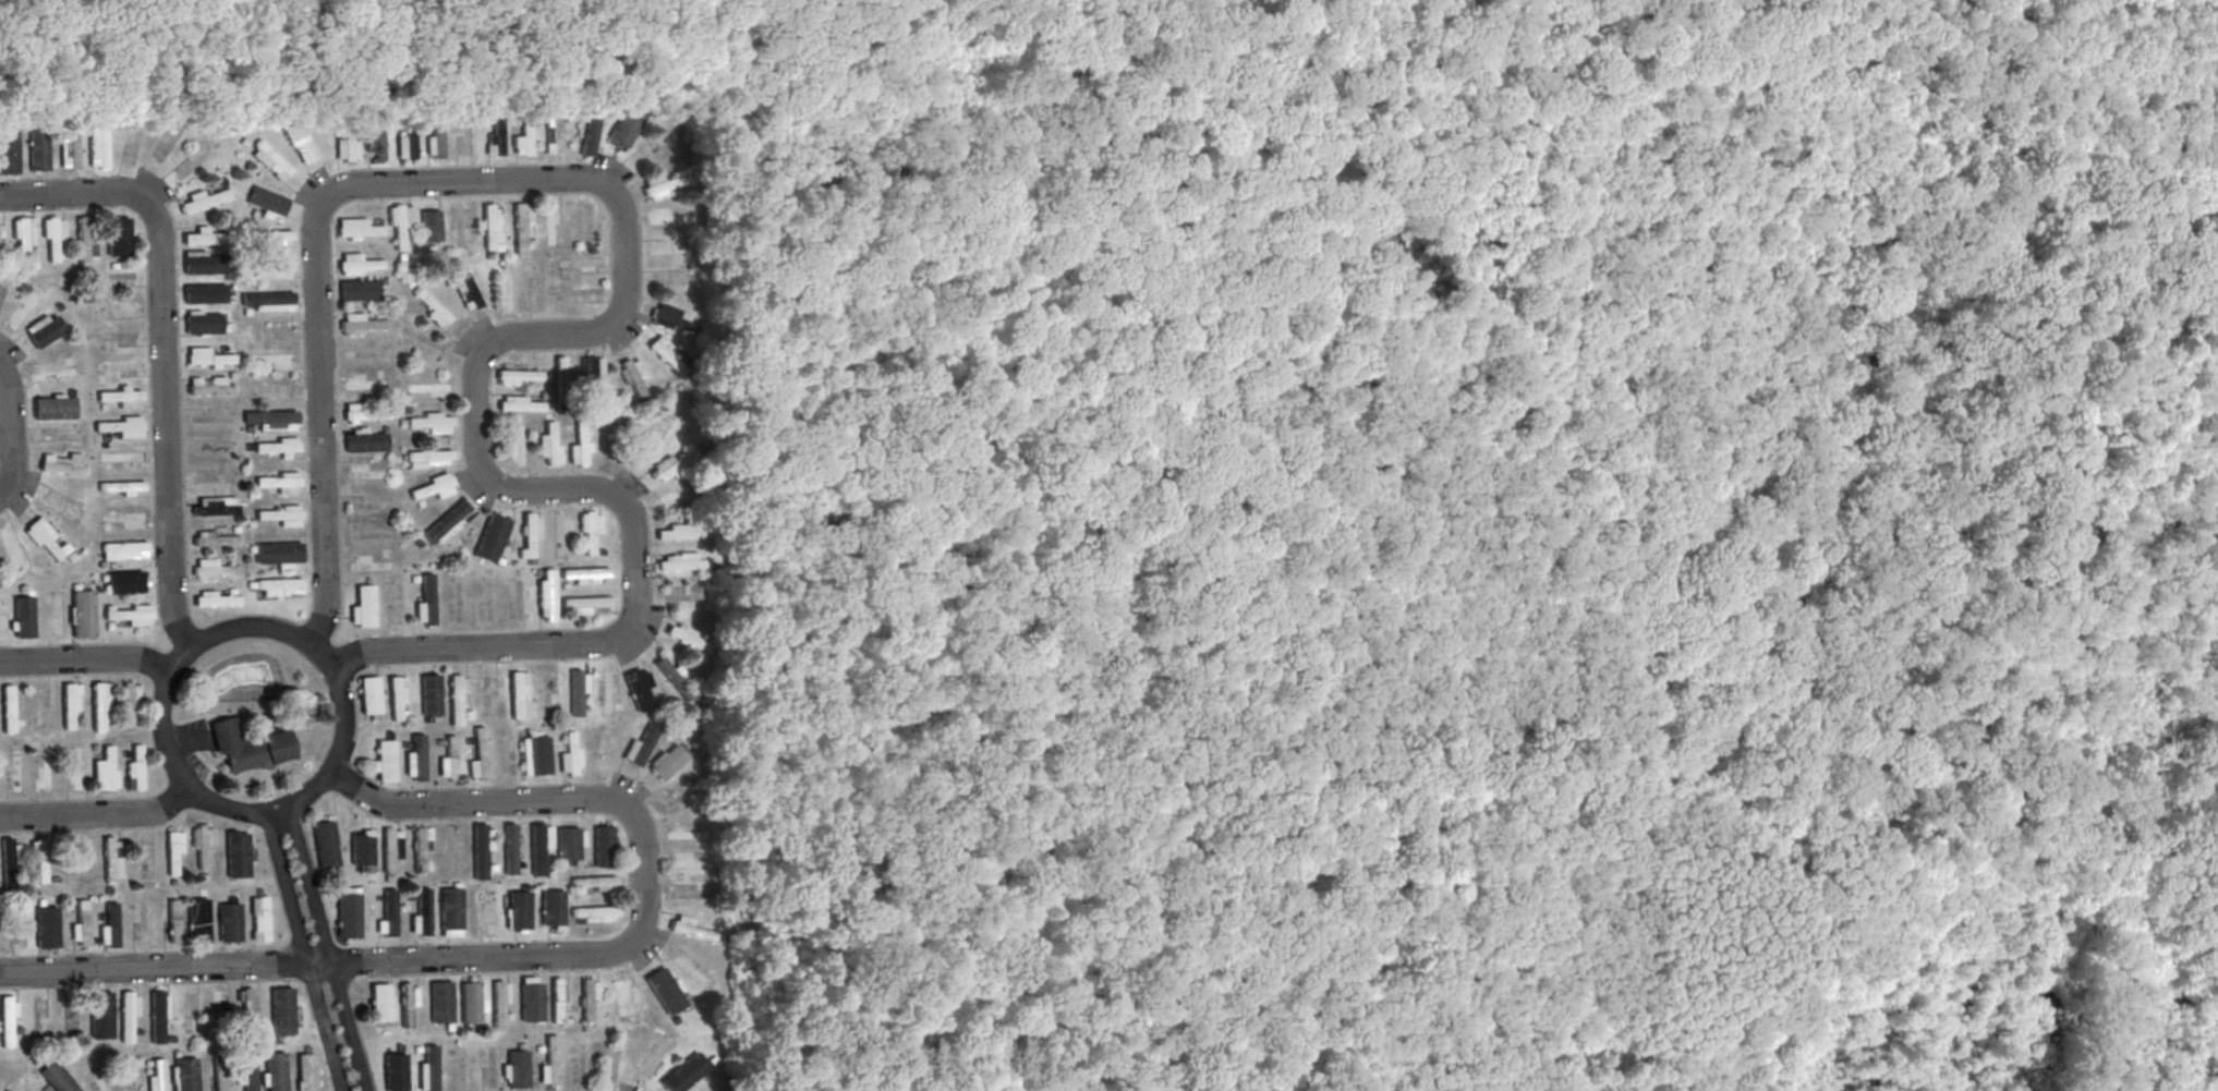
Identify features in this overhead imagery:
road: (2067, 1)
road: (2140, 10)
road: (10, 15)
road: (1139, 61)
road: (1704, 68)
building: (625, 126)
building: (553, 134)
building: (590, 134)
building: (374, 138)
building: (522, 138)
building: (435, 140)
building: (494, 140)
building: (300, 142)
building: (405, 142)
building: (655, 144)
building: (98, 146)
building: (346, 146)
building: (9, 149)
building: (38, 149)
building: (69, 149)
building: (270, 161)
building: (660, 185)
building: (205, 199)
building: (265, 203)
building: (665, 219)
building: (431, 225)
building: (549, 225)
building: (399, 227)
building: (492, 227)
building: (359, 228)
building: (520, 229)
road: (1769, 230)
road: (625, 234)
building: (119, 237)
building: (0, 238)
building: (24, 238)
building: (52, 238)
building: (204, 238)
building: (278, 238)
building: (85, 240)
building: (663, 245)
building: (204, 262)
building: (579, 263)
building: (359, 264)
building: (271, 270)
building: (465, 288)
building: (359, 289)
building: (1, 290)
building: (506, 290)
building: (205, 293)
building: (268, 301)
building: (119, 305)
building: (429, 305)
building: (22, 308)
building: (670, 318)
building: (203, 323)
building: (363, 324)
road: (1414, 325)
building: (45, 329)
road: (160, 354)
building: (668, 354)
building: (208, 359)
building: (269, 359)
building: (118, 365)
building: (51, 374)
building: (562, 374)
building: (516, 375)
building: (591, 375)
building: (631, 377)
road: (1123, 378)
building: (362, 384)
building: (209, 386)
building: (432, 388)
building: (120, 397)
building: (521, 403)
building: (54, 407)
building: (365, 412)
road: (2189, 416)
building: (270, 420)
building: (429, 422)
building: (120, 426)
road: (7, 433)
building: (364, 439)
building: (655, 439)
building: (517, 444)
building: (548, 444)
building: (580, 446)
building: (276, 447)
building: (121, 458)
building: (427, 459)
building: (63, 463)
building: (676, 463)
building: (365, 470)
road: (2190, 476)
building: (278, 482)
building: (121, 487)
building: (432, 487)
building: (674, 498)
building: (214, 506)
building: (278, 516)
building: (123, 517)
building: (446, 524)
building: (559, 532)
building: (680, 532)
building: (528, 533)
building: (589, 533)
building: (490, 537)
building: (215, 538)
building: (46, 540)
park: (1767, 542)
building: (12, 548)
building: (123, 550)
building: (278, 555)
building: (679, 561)
building: (369, 563)
building: (211, 570)
building: (585, 574)
building: (126, 582)
building: (278, 586)
building: (545, 595)
building: (217, 597)
building: (425, 602)
building: (586, 605)
building: (363, 607)
building: (82, 613)
building: (1, 614)
building: (130, 614)
building: (23, 616)
building: (56, 616)
road: (245, 628)
building: (688, 637)
road: (396, 653)
road: (85, 660)
road: (175, 660)
building: (639, 689)
building: (577, 690)
building: (604, 692)
building: (429, 694)
building: (369, 695)
building: (518, 695)
building: (397, 698)
building: (456, 700)
building: (129, 703)
road: (1132, 703)
building: (69, 706)
building: (8, 708)
building: (99, 710)
building: (639, 743)
parking lot: (194, 744)
building: (250, 745)
road: (182, 748)
building: (534, 753)
building: (478, 754)
building: (570, 755)
building: (415, 759)
building: (383, 760)
building: (449, 760)
building: (666, 762)
building: (15, 768)
building: (74, 768)
building: (134, 768)
building: (106, 769)
building: (44, 771)
road: (1932, 786)
road: (270, 812)
road: (97, 817)
building: (684, 833)
building: (570, 843)
building: (202, 845)
building: (325, 845)
building: (538, 846)
building: (603, 846)
building: (361, 847)
building: (390, 847)
building: (481, 848)
building: (509, 848)
building: (421, 850)
road: (1328, 850)
building: (173, 852)
building: (238, 853)
road: (1912, 854)
building: (111, 859)
building: (8, 860)
building: (38, 860)
building: (689, 861)
road: (2147, 870)
road: (645, 882)
building: (592, 884)
road: (1942, 894)
building: (553, 909)
building: (519, 910)
building: (450, 911)
building: (349, 912)
building: (388, 914)
building: (422, 914)
building: (489, 914)
building: (593, 914)
building: (258, 918)
building: (172, 920)
building: (198, 920)
building: (229, 921)
building: (81, 924)
building: (47, 926)
building: (109, 926)
road: (1111, 928)
building: (690, 929)
road: (327, 947)
road: (303, 951)
road: (2147, 957)
building: (687, 967)
road: (153, 970)
building: (664, 991)
building: (626, 996)
building: (587, 997)
building: (531, 998)
building: (556, 999)
building: (408, 1001)
building: (441, 1001)
building: (381, 1002)
building: (473, 1002)
building: (245, 1003)
building: (499, 1006)
building: (216, 1007)
building: (283, 1011)
building: (129, 1013)
building: (101, 1014)
building: (159, 1015)
building: (8, 1021)
building: (548, 1064)
building: (514, 1068)
building: (428, 1070)
building: (274, 1071)
building: (306, 1071)
building: (395, 1071)
building: (246, 1072)
building: (185, 1074)
building: (219, 1074)
building: (683, 1074)
building: (97, 1075)
building: (156, 1075)
building: (57, 1078)

